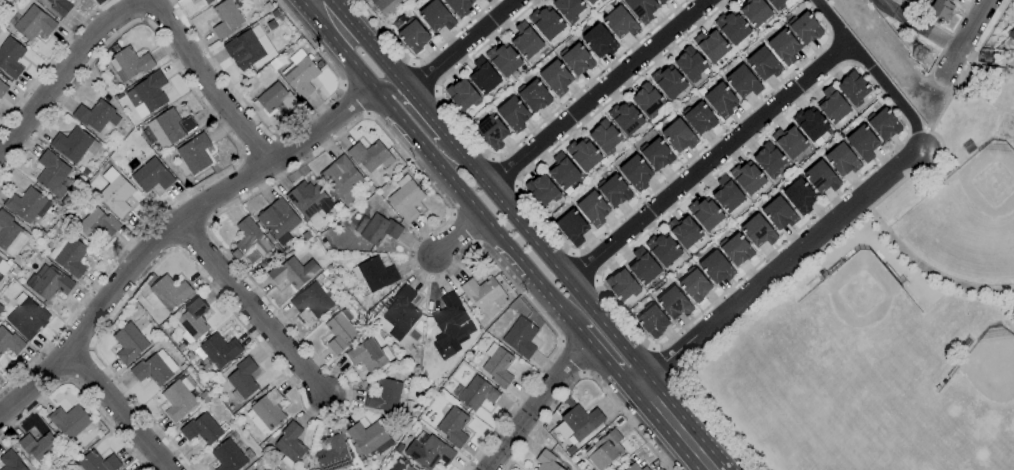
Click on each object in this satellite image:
building: (667, 0)
building: (210, 1)
building: (591, 1)
building: (662, 1)
road: (142, 3)
building: (776, 4)
building: (60, 6)
building: (385, 6)
building: (459, 6)
building: (569, 9)
building: (641, 9)
building: (941, 9)
building: (754, 12)
building: (436, 16)
building: (226, 19)
building: (619, 21)
building: (31, 23)
building: (546, 23)
building: (732, 27)
road: (916, 27)
building: (1013, 27)
building: (804, 28)
road: (952, 32)
road: (387, 35)
building: (413, 35)
building: (1011, 35)
road: (962, 38)
building: (525, 41)
building: (599, 41)
road: (983, 41)
building: (711, 45)
road: (463, 46)
building: (784, 46)
building: (244, 50)
power tower: (919, 55)
building: (10, 57)
road: (50, 59)
building: (503, 59)
building: (576, 59)
building: (130, 63)
building: (274, 63)
building: (763, 64)
building: (691, 65)
road: (874, 72)
building: (300, 74)
road: (426, 75)
building: (483, 76)
building: (556, 77)
building: (668, 82)
building: (743, 82)
road: (979, 85)
building: (853, 88)
building: (2, 89)
road: (596, 93)
building: (147, 94)
building: (463, 95)
building: (533, 95)
building: (276, 98)
road: (353, 99)
building: (647, 100)
building: (720, 100)
building: (832, 105)
road: (409, 109)
building: (513, 114)
building: (96, 115)
building: (625, 118)
building: (699, 118)
building: (810, 124)
building: (883, 124)
road: (462, 125)
building: (169, 128)
building: (492, 131)
road: (285, 134)
road: (227, 136)
building: (679, 136)
building: (605, 137)
building: (789, 141)
building: (862, 143)
building: (74, 144)
building: (195, 153)
building: (583, 154)
building: (656, 154)
building: (370, 156)
building: (769, 160)
building: (842, 160)
road: (707, 162)
road: (505, 169)
building: (563, 171)
building: (52, 173)
building: (636, 173)
building: (151, 176)
building: (747, 177)
building: (821, 178)
building: (341, 179)
road: (485, 185)
building: (542, 190)
building: (613, 190)
building: (115, 193)
building: (727, 194)
building: (799, 196)
building: (406, 198)
road: (467, 198)
building: (309, 200)
building: (27, 205)
building: (593, 209)
building: (705, 213)
building: (779, 213)
building: (279, 221)
park: (970, 221)
building: (97, 224)
road: (169, 227)
building: (572, 227)
road: (210, 228)
building: (380, 230)
building: (684, 231)
building: (758, 231)
road: (457, 234)
building: (10, 235)
building: (252, 241)
building: (663, 249)
building: (736, 249)
road: (579, 250)
building: (68, 255)
road: (587, 265)
building: (5, 266)
building: (642, 266)
road: (778, 266)
building: (715, 267)
road: (924, 268)
building: (293, 272)
building: (375, 274)
building: (48, 283)
building: (694, 284)
building: (622, 285)
building: (167, 293)
building: (483, 293)
building: (312, 301)
building: (673, 303)
building: (1, 309)
road: (252, 311)
building: (401, 313)
park: (858, 313)
road: (623, 315)
building: (26, 317)
building: (652, 320)
park: (888, 320)
building: (192, 323)
building: (450, 326)
building: (339, 331)
building: (520, 338)
building: (9, 342)
building: (129, 343)
building: (218, 350)
building: (368, 355)
road: (665, 360)
road: (568, 361)
building: (497, 365)
building: (154, 369)
road: (585, 376)
park: (986, 378)
building: (242, 380)
road: (79, 391)
building: (475, 393)
building: (384, 396)
building: (178, 399)
road: (535, 402)
road: (120, 409)
building: (266, 412)
road: (707, 419)
building: (580, 420)
building: (69, 421)
road: (675, 426)
building: (453, 427)
building: (201, 429)
building: (371, 437)
building: (290, 444)
building: (39, 447)
building: (605, 450)
building: (428, 451)
building: (332, 454)
building: (228, 456)
building: (10, 461)
building: (546, 461)
building: (95, 462)
building: (630, 465)
building: (407, 468)
building: (644, 468)
building: (251, 469)

